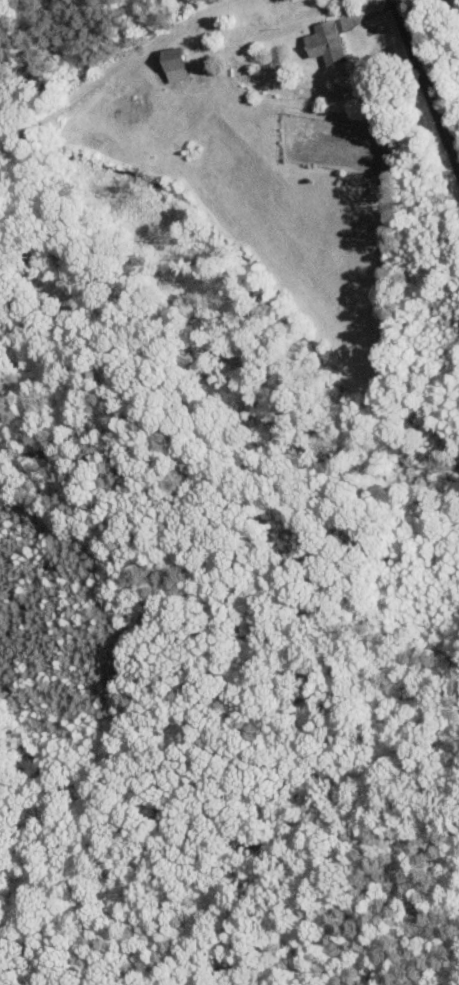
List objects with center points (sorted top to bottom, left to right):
building: (324, 42)
building: (173, 64)
road: (425, 86)

